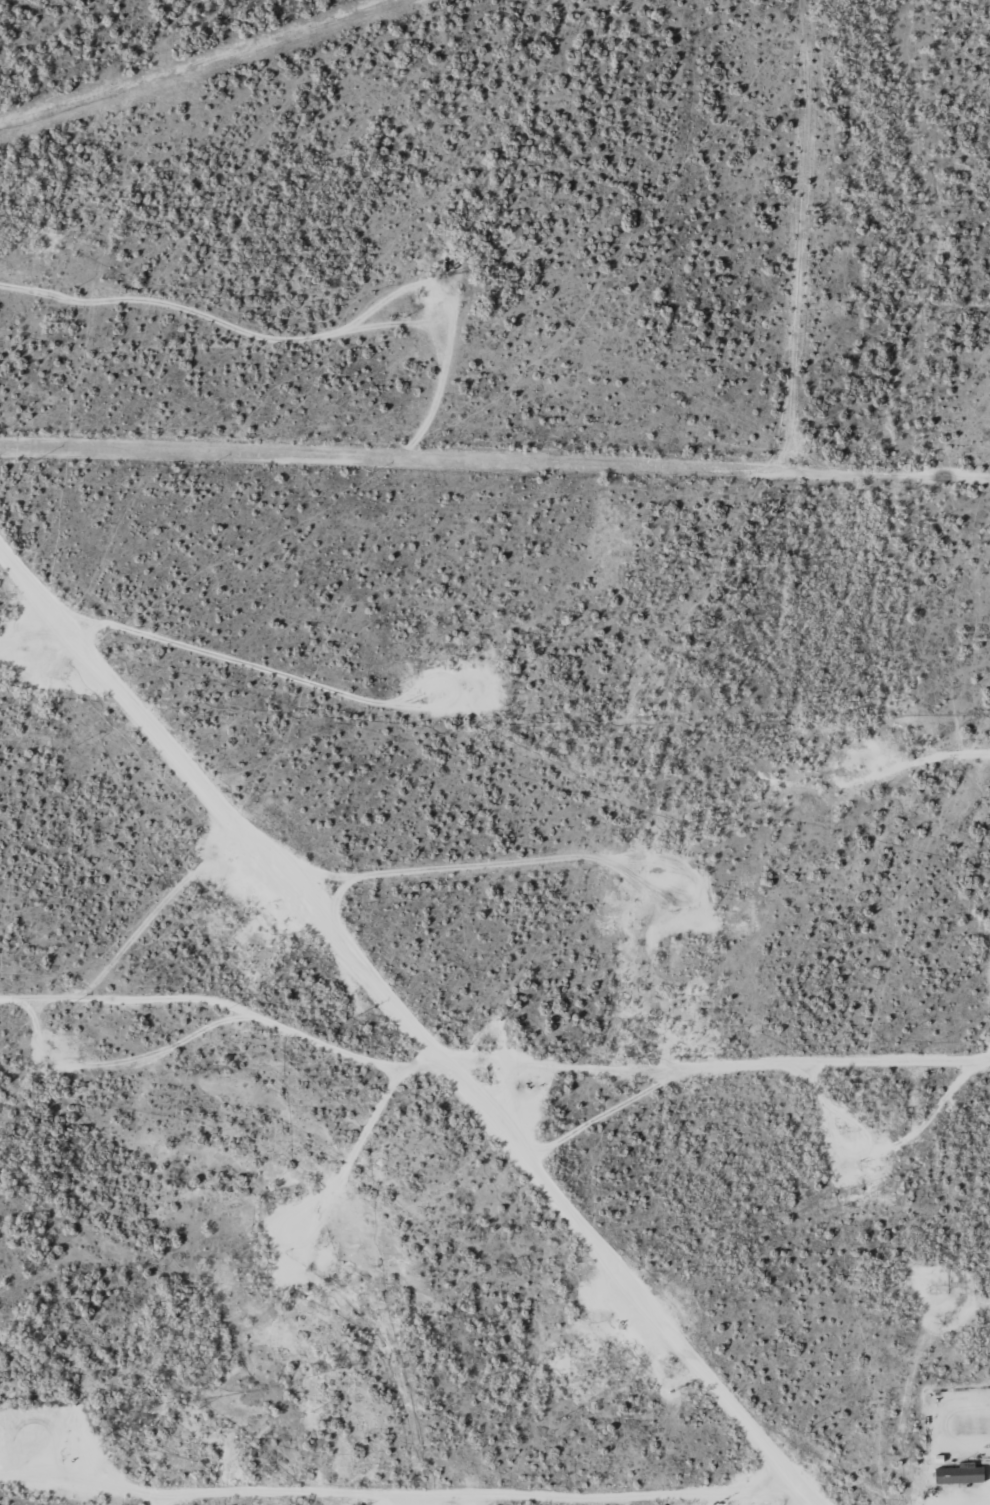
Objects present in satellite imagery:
road: (807, 242)
road: (494, 467)
road: (399, 1011)
road: (725, 1050)
building: (960, 1472)
road: (799, 1490)
road: (769, 1497)

